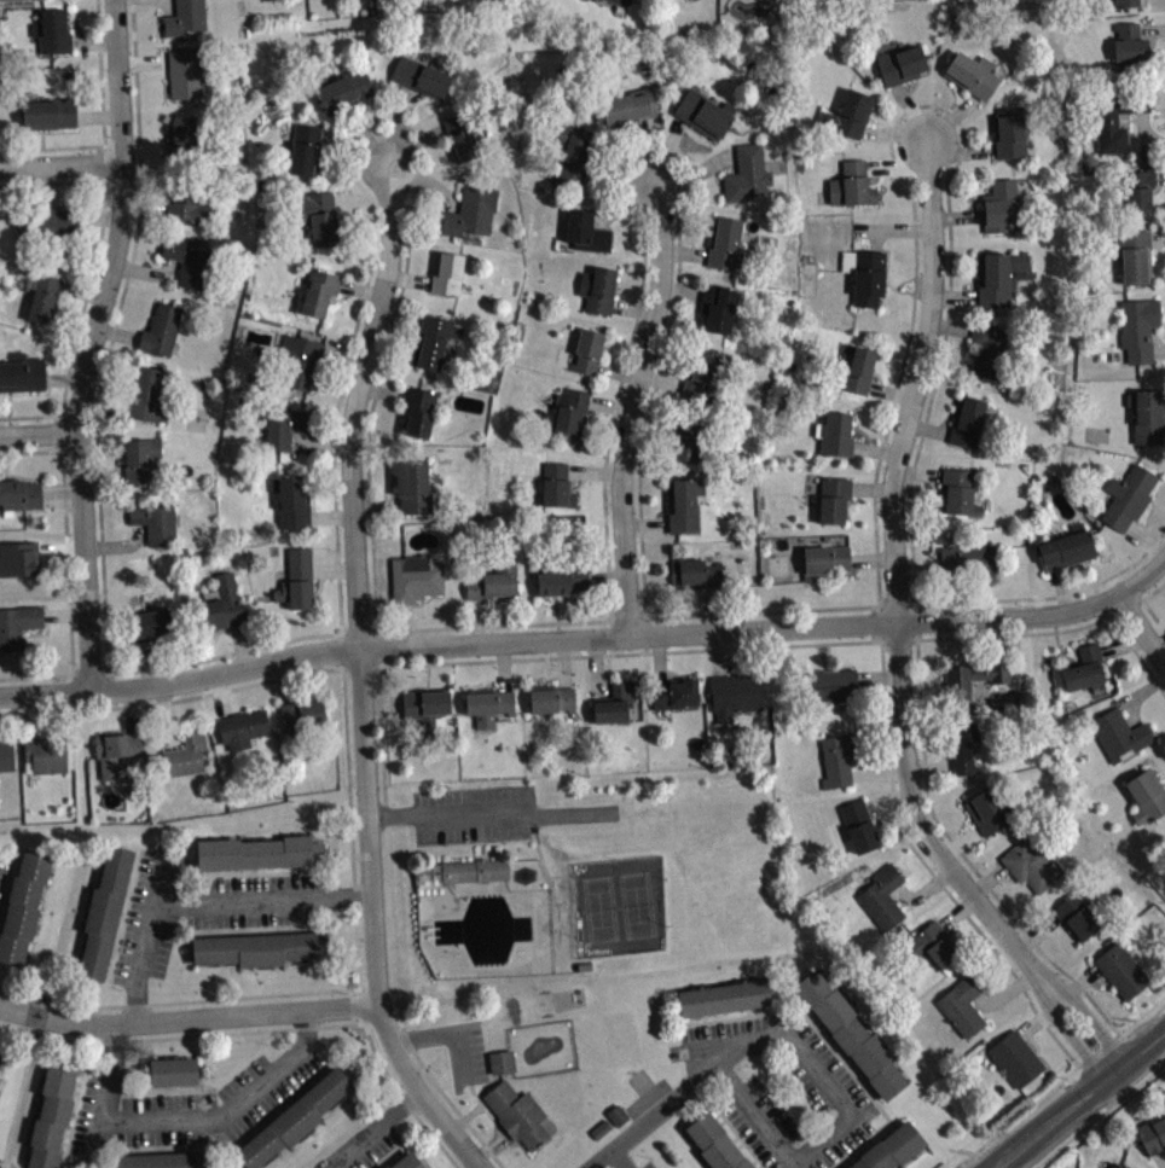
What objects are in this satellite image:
building: (700, 0)
building: (621, 1)
building: (770, 1)
building: (1128, 2)
building: (182, 17)
building: (52, 31)
building: (1129, 42)
building: (900, 64)
building: (182, 74)
building: (970, 74)
building: (421, 76)
building: (344, 88)
building: (628, 105)
building: (47, 112)
building: (703, 112)
building: (848, 114)
building: (1115, 117)
road: (103, 124)
building: (1008, 132)
building: (182, 135)
building: (462, 138)
building: (305, 149)
building: (574, 155)
road: (62, 165)
building: (747, 175)
building: (851, 185)
building: (1137, 190)
building: (187, 204)
building: (999, 207)
building: (468, 213)
building: (318, 217)
building: (48, 226)
building: (585, 231)
building: (724, 242)
building: (1132, 255)
building: (185, 261)
building: (446, 272)
building: (864, 274)
building: (996, 277)
road: (89, 279)
building: (597, 289)
building: (318, 291)
building: (42, 296)
building: (715, 307)
building: (1137, 327)
building: (161, 330)
building: (433, 339)
road: (91, 345)
building: (586, 350)
building: (989, 350)
building: (300, 362)
building: (858, 370)
building: (22, 372)
building: (703, 374)
road: (916, 387)
road: (655, 391)
building: (146, 396)
building: (418, 412)
road: (637, 413)
building: (570, 414)
building: (1147, 416)
building: (966, 422)
building: (284, 428)
building: (699, 429)
building: (834, 434)
road: (37, 435)
building: (686, 446)
building: (140, 459)
building: (556, 484)
road: (909, 484)
building: (412, 487)
building: (956, 492)
building: (19, 494)
building: (1128, 496)
building: (833, 499)
building: (291, 500)
building: (683, 504)
building: (152, 521)
road: (336, 545)
building: (1065, 547)
building: (970, 559)
building: (823, 560)
building: (22, 566)
road: (66, 568)
building: (695, 574)
building: (415, 579)
building: (296, 580)
building: (562, 580)
building: (493, 582)
road: (1143, 586)
road: (1144, 603)
building: (221, 605)
building: (150, 623)
building: (17, 624)
road: (1142, 634)
road: (558, 640)
road: (804, 643)
road: (1137, 656)
building: (1084, 669)
road: (361, 674)
building: (972, 676)
road: (278, 679)
building: (828, 685)
building: (674, 692)
building: (734, 693)
building: (551, 699)
building: (614, 702)
building: (487, 704)
building: (424, 707)
building: (300, 714)
building: (242, 727)
building: (1118, 734)
building: (964, 746)
building: (116, 750)
building: (185, 752)
building: (5, 755)
building: (45, 755)
building: (837, 759)
road: (925, 774)
building: (1146, 795)
building: (986, 810)
road: (492, 814)
parking lot: (475, 815)
building: (858, 824)
building: (254, 852)
building: (1028, 862)
parking lot: (2, 867)
building: (464, 870)
road: (952, 872)
park: (578, 885)
road: (354, 896)
building: (881, 896)
road: (198, 897)
park: (619, 905)
building: (24, 906)
building: (103, 912)
building: (1076, 916)
road: (357, 936)
building: (932, 943)
building: (257, 948)
building: (1120, 970)
building: (724, 995)
road: (189, 1000)
building: (961, 1004)
road: (185, 1022)
building: (850, 1034)
parking lot: (471, 1051)
building: (1, 1056)
building: (1014, 1058)
building: (172, 1070)
building: (505, 1070)
road: (1083, 1102)
building: (517, 1115)
building: (294, 1116)
building: (48, 1117)
road: (184, 1117)
road: (656, 1120)
road: (845, 1122)
building: (620, 1123)
road: (369, 1131)
building: (604, 1137)
building: (715, 1143)
building: (1154, 1143)
building: (891, 1147)
building: (163, 1160)
building: (405, 1161)
road: (620, 1161)

